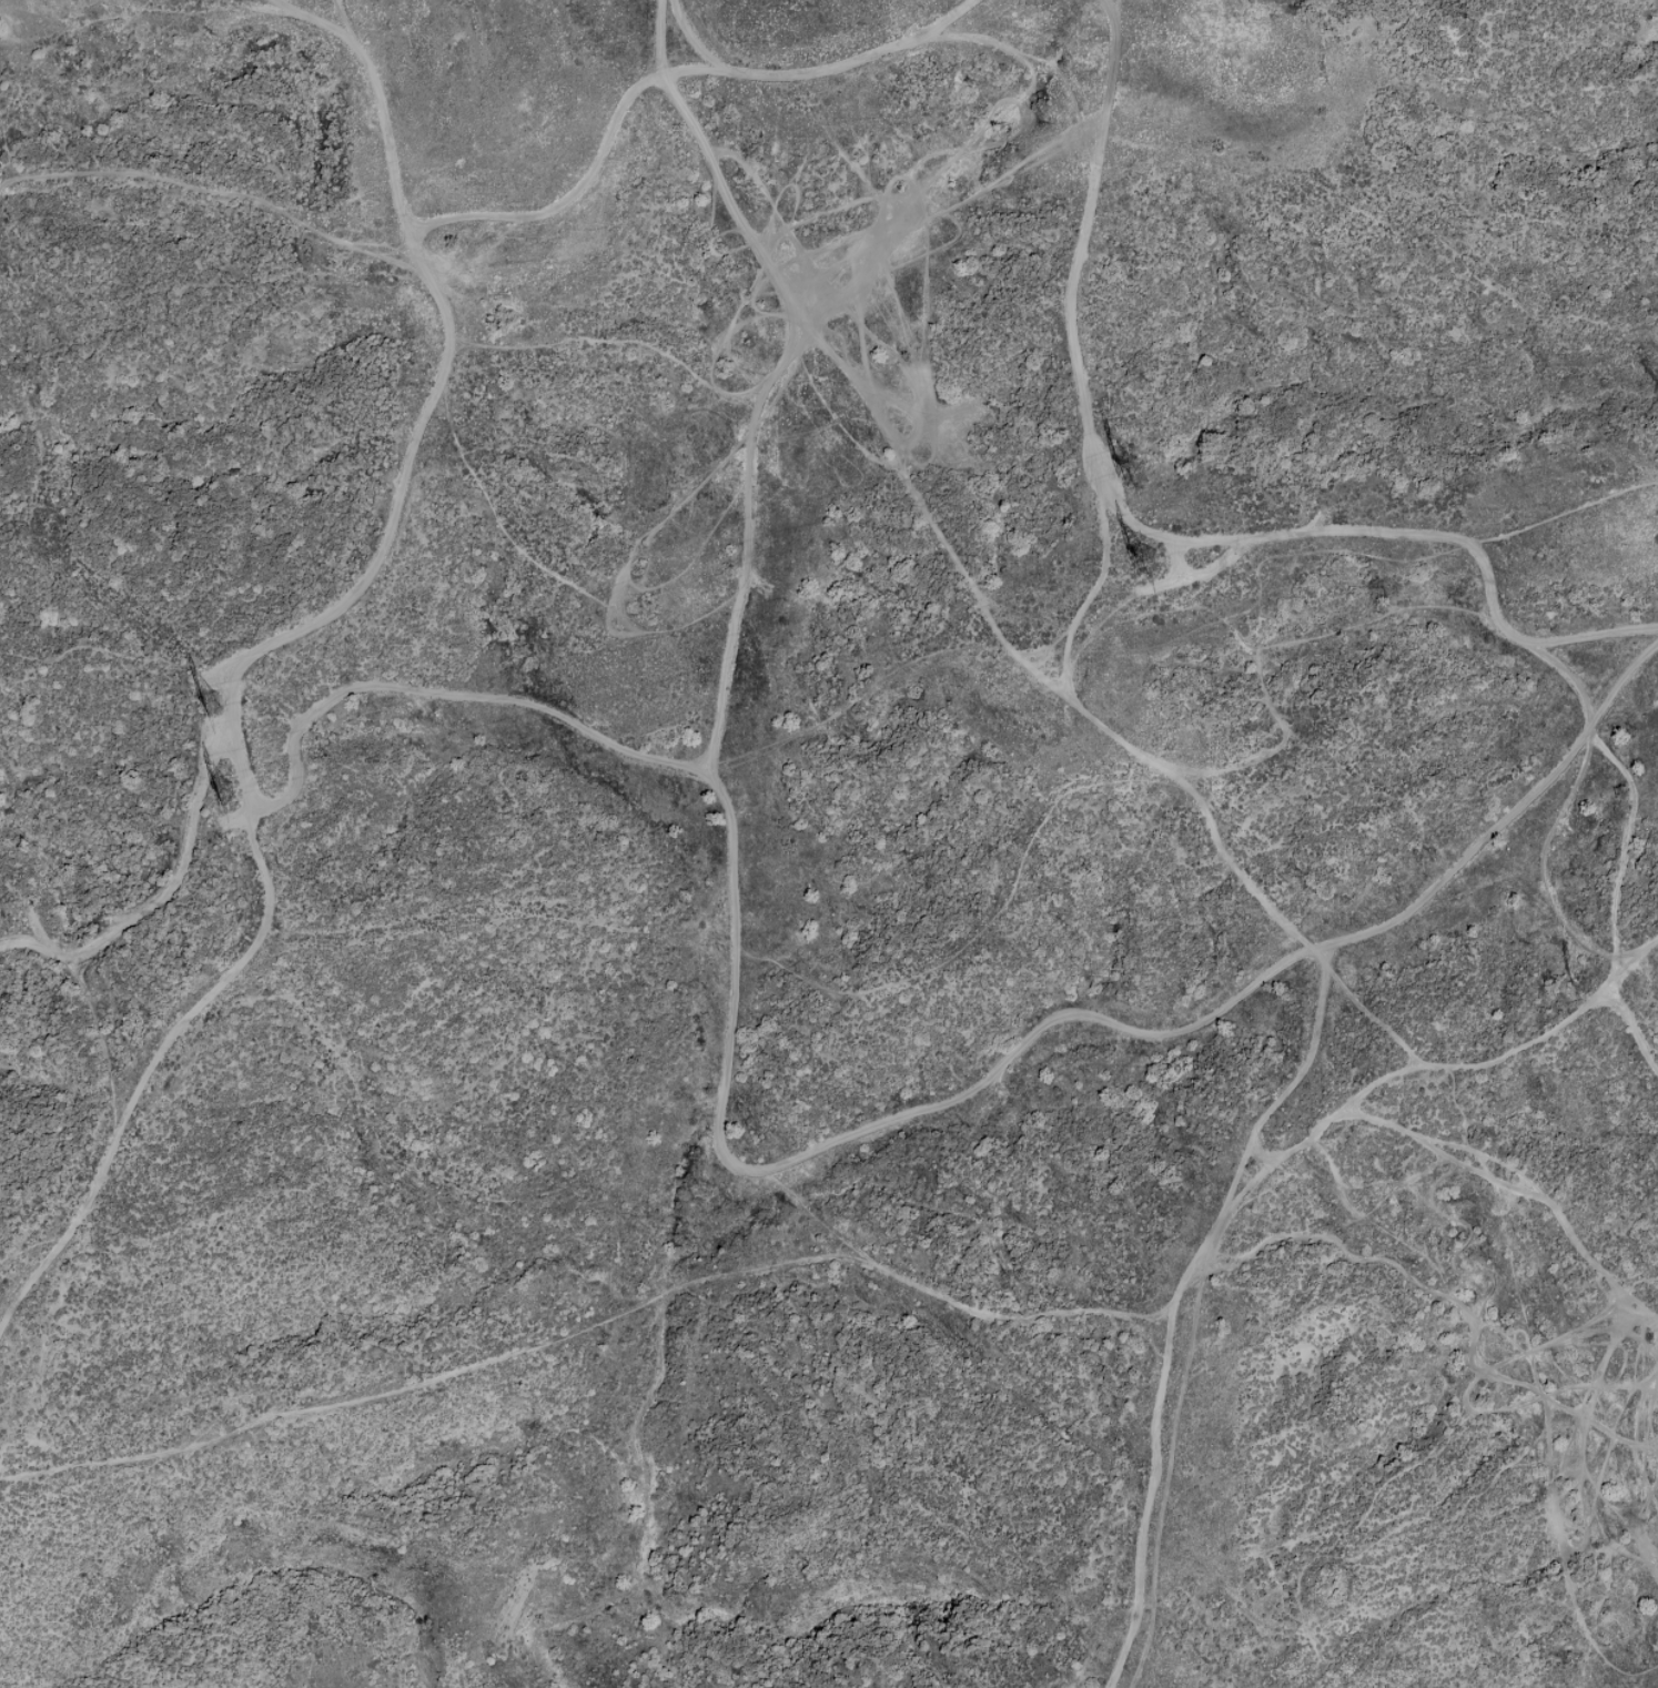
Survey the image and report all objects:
road: (771, 72)
power tower: (1142, 474)
road: (1303, 530)
power tower: (1140, 559)
road: (266, 625)
power tower: (220, 701)
power tower: (224, 794)
road: (1243, 1189)

